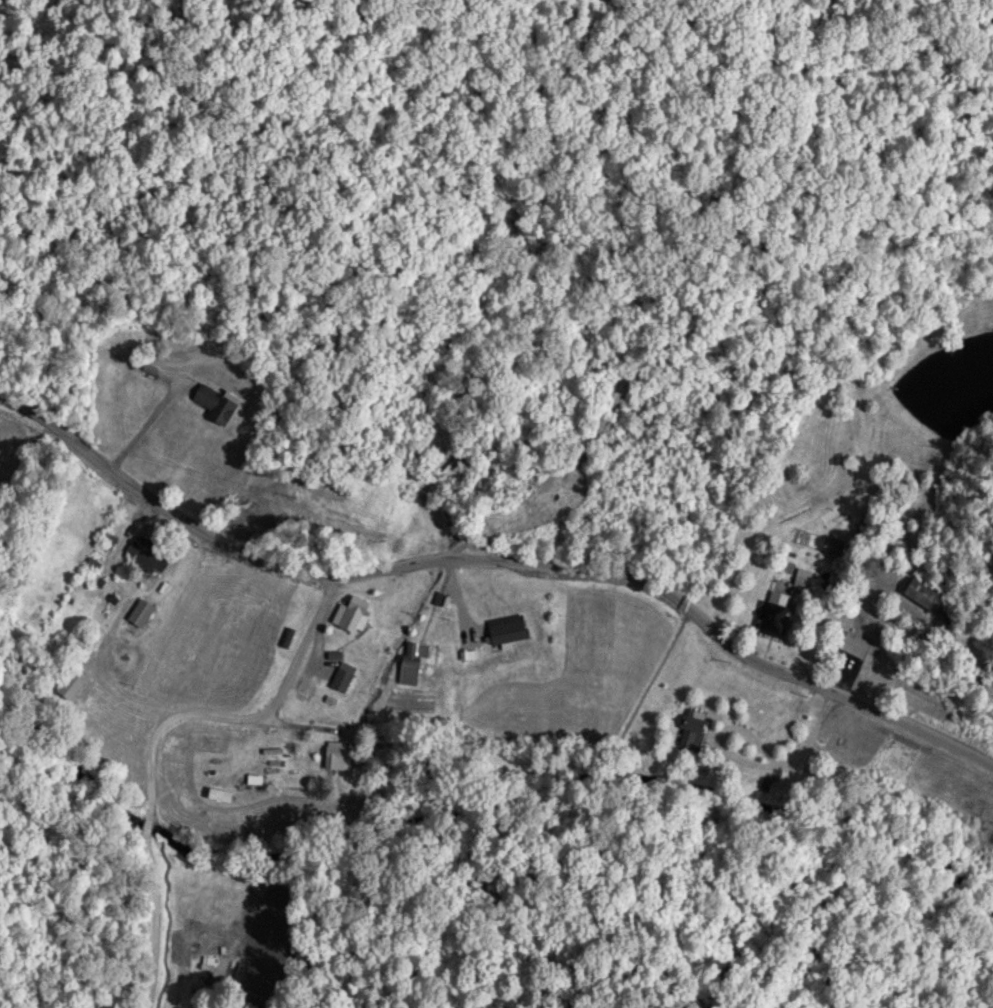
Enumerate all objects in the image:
building: (217, 401)
building: (455, 465)
building: (827, 520)
building: (111, 537)
building: (153, 552)
road: (496, 557)
building: (801, 575)
building: (917, 592)
building: (144, 610)
building: (358, 612)
building: (769, 614)
building: (512, 629)
building: (851, 642)
building: (416, 648)
building: (345, 674)
road: (156, 733)
building: (334, 753)
building: (896, 753)
building: (197, 1005)

